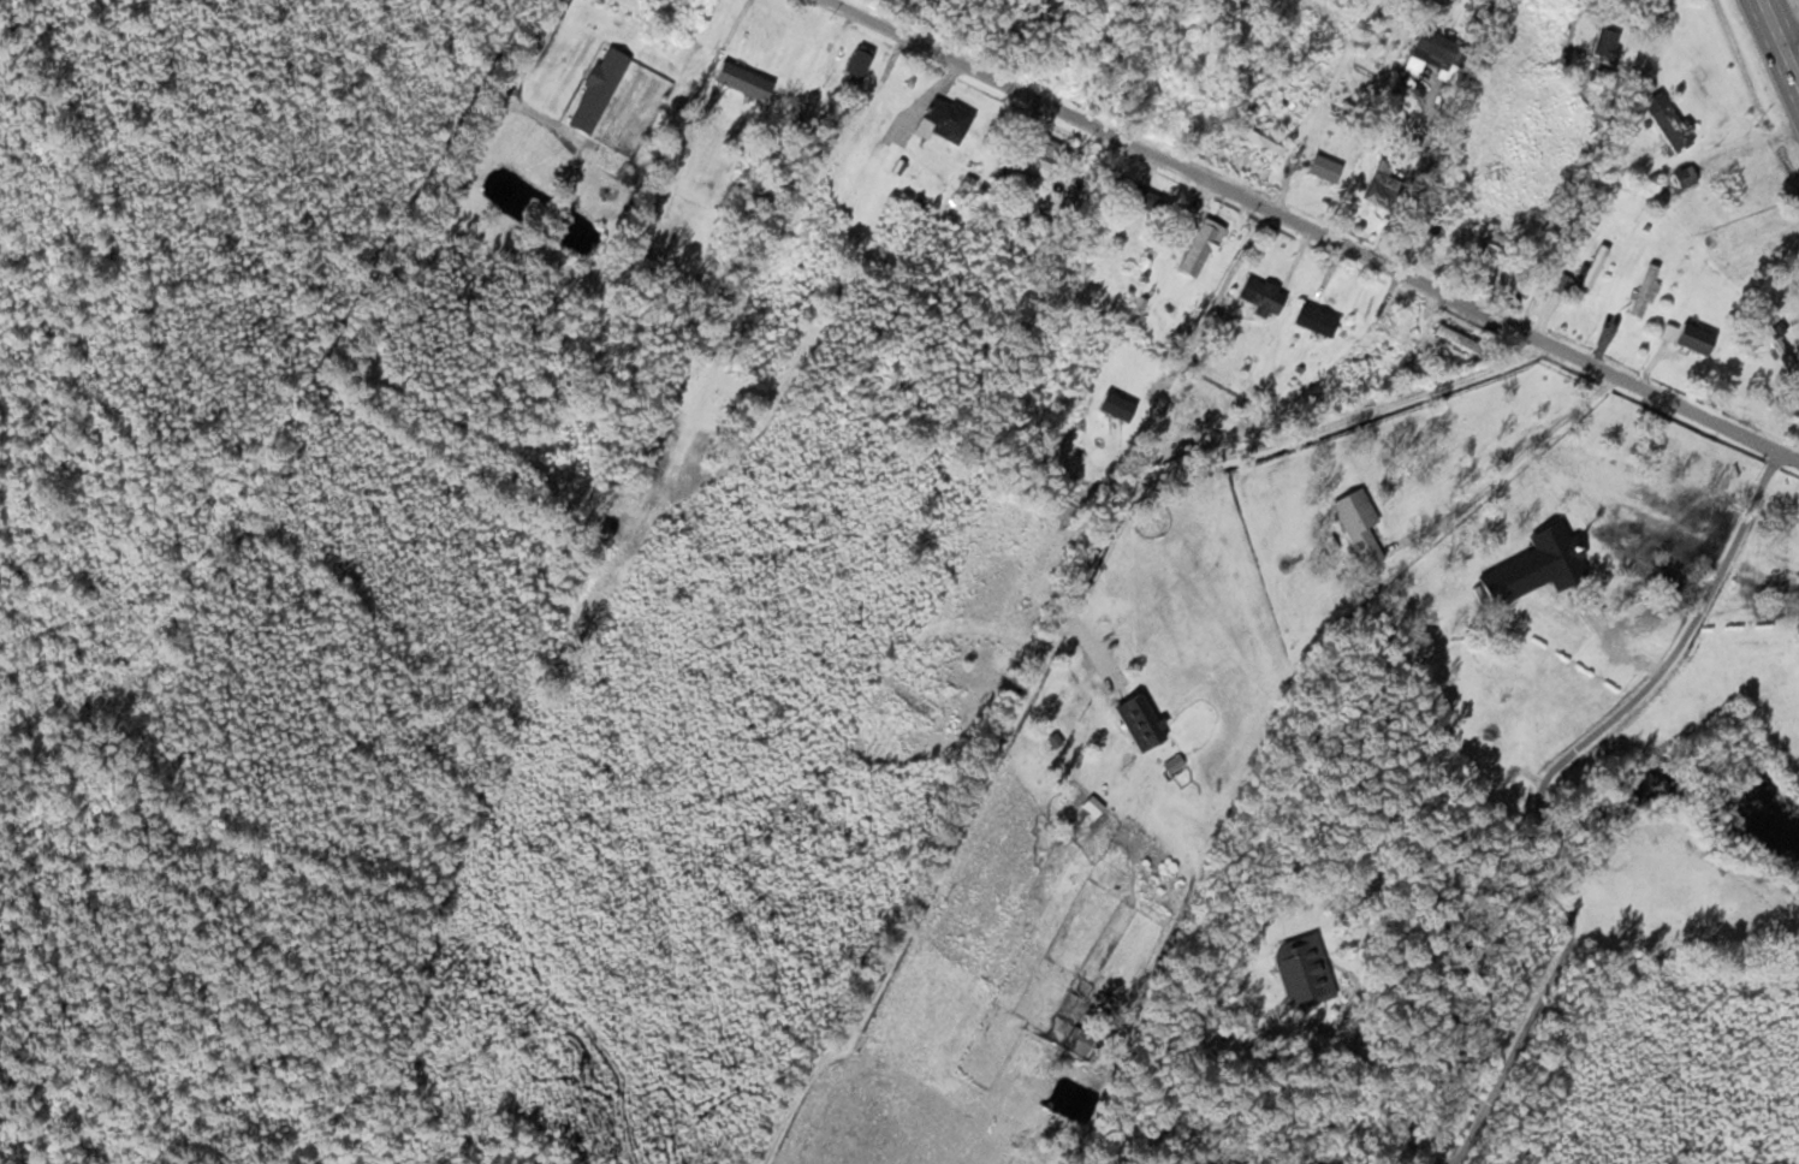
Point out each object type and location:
road: (1781, 38)
building: (1432, 43)
building: (1605, 44)
building: (857, 61)
building: (741, 79)
building: (596, 89)
building: (946, 118)
building: (1667, 120)
building: (1260, 139)
building: (1043, 154)
building: (1326, 165)
building: (1067, 180)
building: (1381, 185)
building: (1141, 198)
building: (931, 216)
road: (1314, 225)
building: (1199, 248)
building: (1484, 262)
building: (1592, 268)
building: (1643, 290)
building: (1260, 296)
building: (1135, 309)
building: (1313, 320)
building: (1396, 332)
building: (1455, 338)
building: (1693, 338)
building: (1776, 344)
building: (1229, 358)
building: (1080, 366)
building: (1347, 382)
building: (1115, 406)
building: (1354, 518)
building: (1536, 566)
road: (1055, 633)
building: (914, 701)
building: (1138, 718)
road: (1542, 788)
building: (1092, 806)
building: (1300, 969)
building: (1082, 1044)

